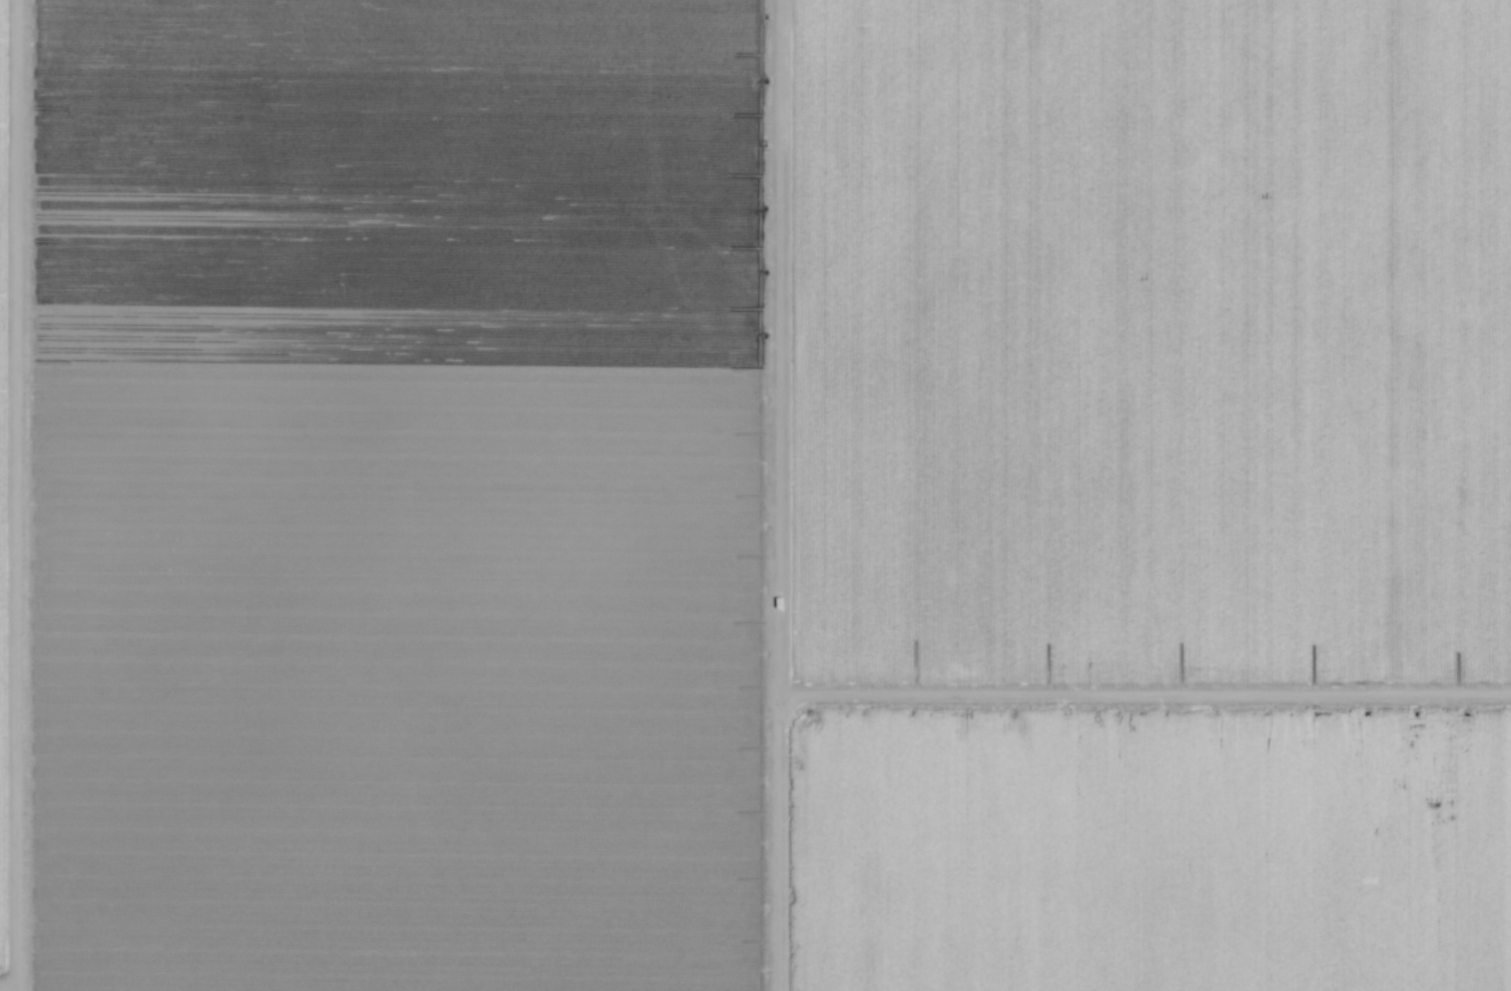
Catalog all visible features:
crop: (755, 495)
road: (783, 495)
road: (1147, 692)

